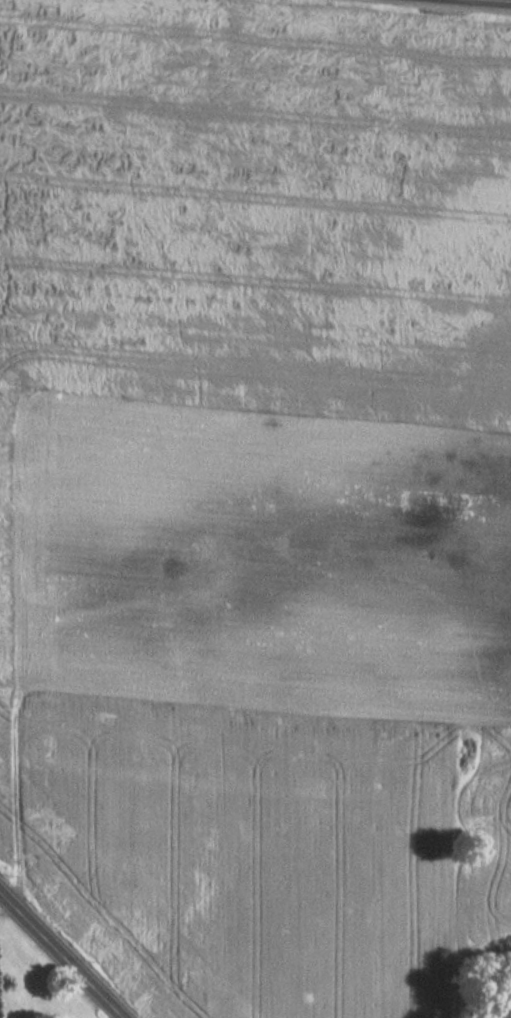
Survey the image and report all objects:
road: (64, 952)

